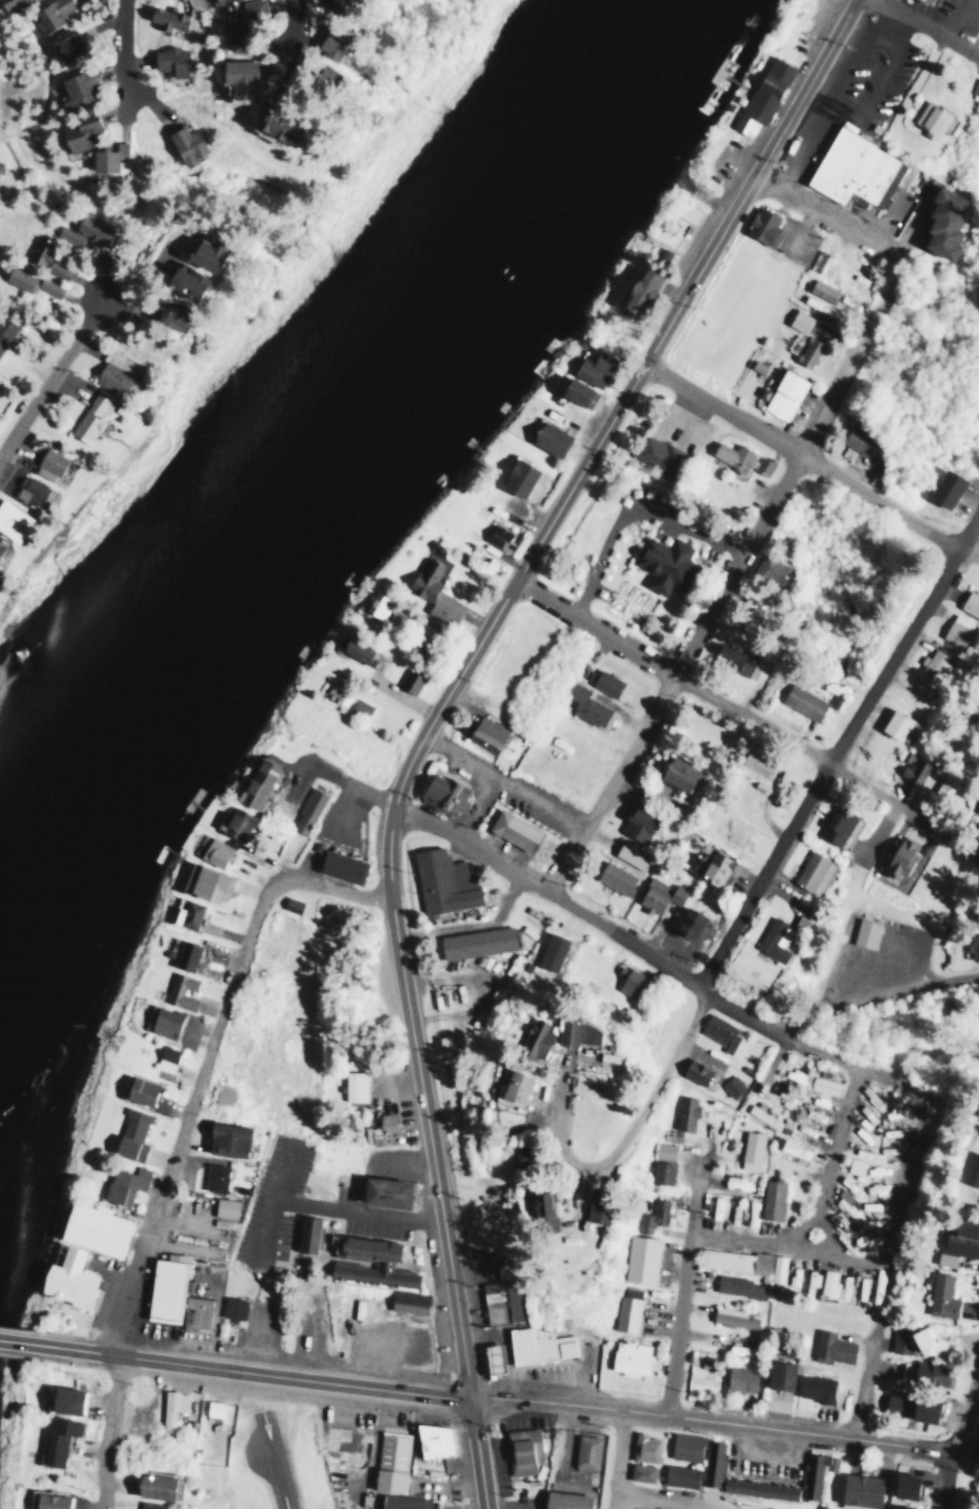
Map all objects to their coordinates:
building: (211, 0)
building: (923, 1)
building: (328, 2)
building: (8, 3)
building: (48, 14)
building: (165, 20)
building: (237, 24)
road: (923, 27)
road: (296, 35)
building: (324, 43)
building: (64, 44)
building: (169, 60)
road: (121, 61)
building: (234, 77)
building: (319, 77)
building: (975, 85)
building: (74, 89)
building: (760, 94)
building: (929, 118)
building: (272, 125)
building: (75, 131)
building: (183, 143)
building: (105, 156)
building: (853, 169)
building: (941, 220)
building: (760, 223)
building: (90, 227)
road: (855, 230)
building: (67, 235)
building: (199, 253)
building: (46, 259)
building: (179, 280)
building: (28, 281)
building: (637, 289)
building: (820, 289)
building: (810, 301)
building: (167, 317)
building: (798, 319)
building: (4, 329)
building: (806, 350)
building: (590, 367)
building: (114, 371)
road: (52, 386)
building: (575, 391)
building: (782, 393)
building: (90, 415)
river: (332, 436)
building: (547, 437)
building: (855, 441)
road: (591, 443)
building: (655, 452)
building: (739, 457)
road: (799, 457)
building: (46, 463)
building: (516, 476)
building: (943, 487)
building: (28, 490)
building: (11, 521)
building: (497, 537)
road: (971, 551)
building: (661, 561)
building: (765, 568)
road: (727, 576)
building: (432, 592)
building: (374, 603)
building: (969, 603)
building: (956, 629)
building: (354, 649)
building: (732, 657)
building: (376, 658)
building: (927, 665)
building: (411, 682)
building: (604, 682)
building: (801, 700)
building: (583, 704)
building: (358, 707)
road: (743, 712)
building: (484, 733)
road: (846, 758)
building: (752, 763)
building: (912, 767)
building: (675, 772)
building: (255, 782)
building: (947, 783)
building: (441, 793)
parking lot: (526, 797)
building: (976, 804)
building: (306, 811)
building: (232, 822)
building: (636, 823)
building: (834, 826)
building: (512, 830)
building: (212, 851)
building: (629, 854)
building: (339, 865)
building: (713, 867)
building: (811, 872)
building: (613, 877)
building: (203, 881)
building: (441, 881)
building: (659, 895)
building: (289, 903)
building: (184, 912)
building: (976, 914)
building: (686, 922)
building: (864, 932)
building: (769, 940)
building: (475, 941)
building: (972, 945)
building: (550, 951)
road: (643, 953)
building: (183, 955)
building: (627, 981)
building: (178, 990)
building: (451, 997)
building: (163, 1021)
building: (569, 1030)
building: (718, 1032)
building: (532, 1040)
building: (601, 1056)
building: (164, 1057)
road: (207, 1058)
road: (769, 1060)
building: (696, 1072)
building: (793, 1074)
building: (822, 1084)
building: (352, 1085)
building: (505, 1085)
building: (730, 1085)
building: (138, 1090)
building: (221, 1092)
building: (685, 1112)
building: (761, 1113)
road: (635, 1117)
building: (381, 1129)
building: (129, 1134)
building: (670, 1134)
building: (224, 1138)
building: (793, 1148)
building: (749, 1149)
building: (662, 1150)
road: (431, 1151)
road: (831, 1156)
building: (853, 1165)
building: (659, 1172)
building: (974, 1173)
building: (213, 1177)
building: (736, 1181)
building: (122, 1183)
building: (382, 1191)
building: (770, 1199)
building: (223, 1206)
building: (715, 1207)
building: (538, 1211)
building: (591, 1212)
building: (651, 1215)
building: (93, 1229)
building: (304, 1233)
building: (958, 1241)
road: (787, 1244)
building: (639, 1258)
building: (732, 1259)
road: (887, 1259)
building: (381, 1260)
building: (776, 1267)
building: (66, 1278)
road: (683, 1278)
building: (807, 1281)
building: (827, 1282)
building: (736, 1285)
building: (164, 1286)
building: (843, 1286)
building: (861, 1287)
building: (940, 1295)
building: (406, 1300)
building: (500, 1301)
building: (231, 1307)
building: (193, 1311)
building: (625, 1313)
building: (732, 1316)
road: (17, 1340)
building: (926, 1342)
building: (538, 1344)
building: (831, 1347)
building: (628, 1357)
building: (490, 1358)
road: (252, 1369)
building: (923, 1372)
building: (777, 1374)
building: (738, 1378)
building: (813, 1387)
building: (63, 1398)
building: (170, 1404)
building: (910, 1407)
road: (711, 1420)
road: (956, 1427)
road: (106, 1430)
building: (978, 1431)
building: (55, 1437)
building: (431, 1439)
building: (683, 1445)
building: (643, 1447)
building: (521, 1448)
road: (479, 1451)
building: (585, 1451)
road: (964, 1452)
airport: (258, 1456)
road: (617, 1459)
airport runway: (275, 1460)
building: (389, 1460)
building: (809, 1470)
building: (640, 1472)
building: (678, 1475)
building: (150, 1484)
building: (902, 1484)
building: (859, 1489)
building: (563, 1499)
building: (45, 1500)
road: (646, 1500)
building: (403, 1502)
building: (147, 1504)

